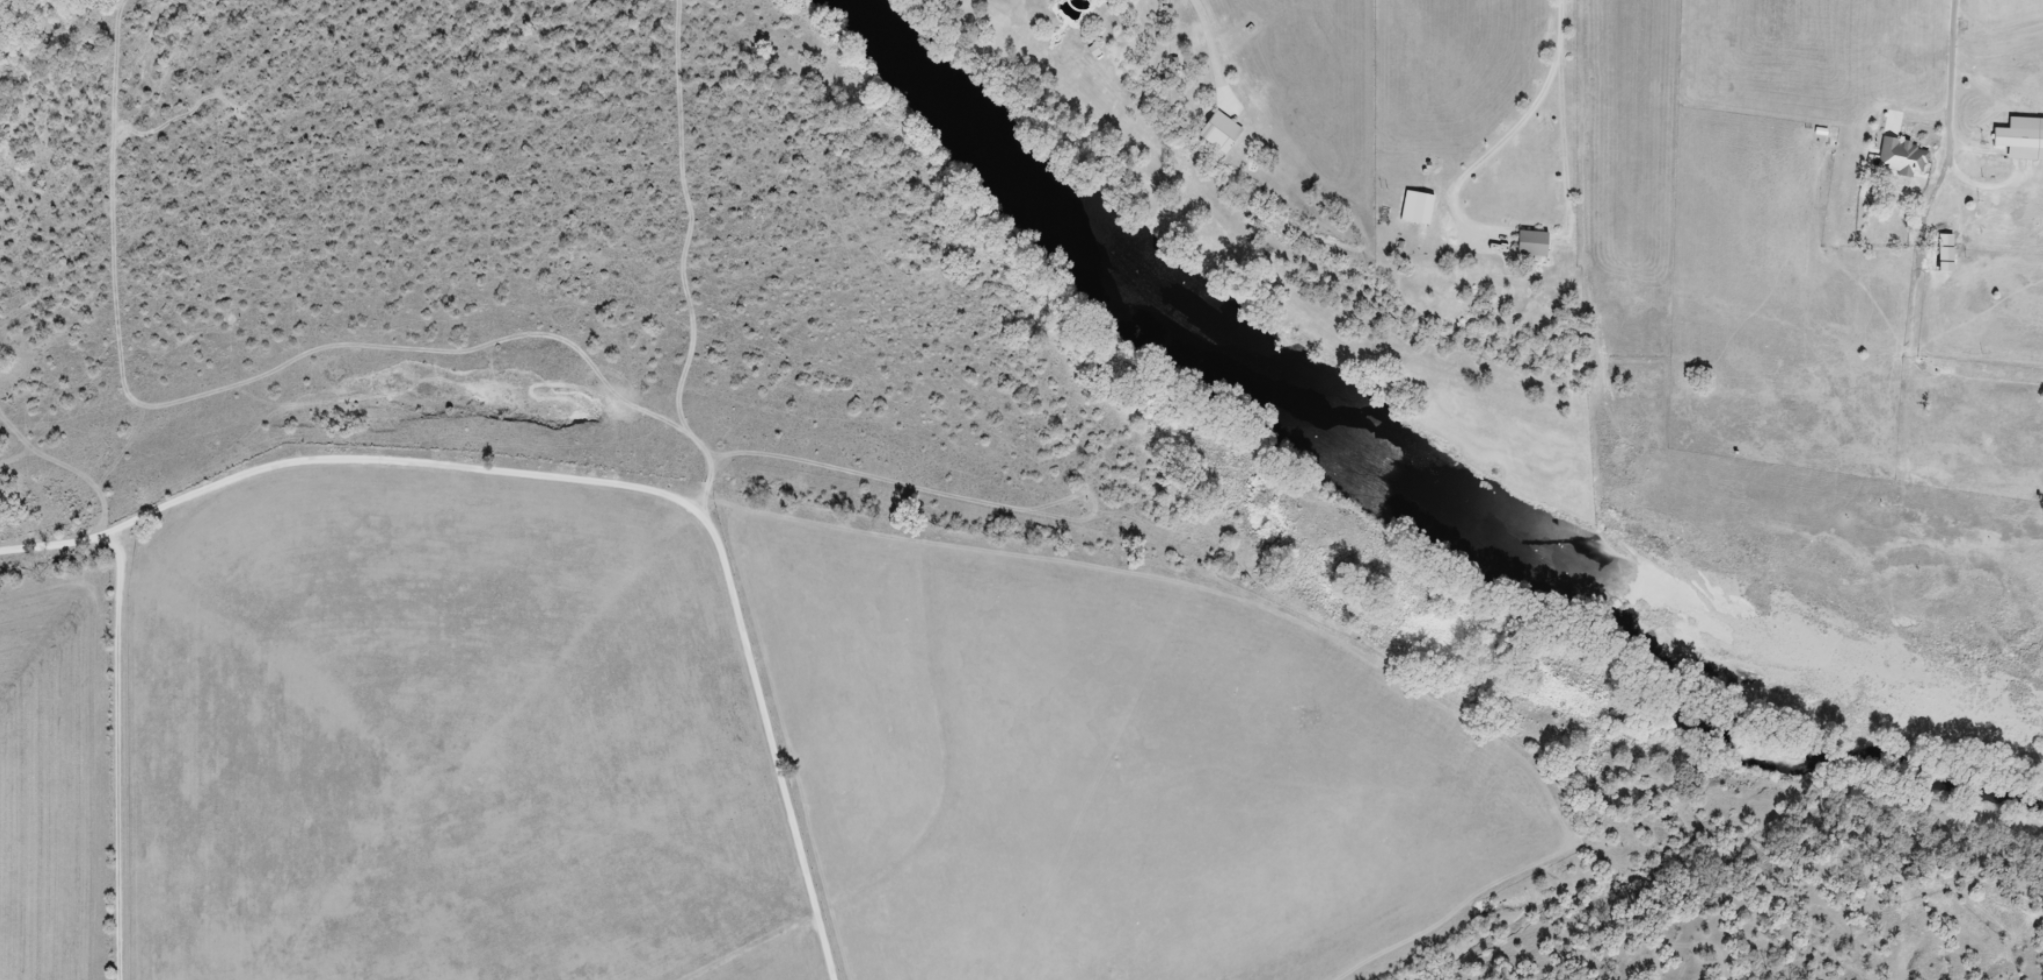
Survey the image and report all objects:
river: (2, 1)
road: (1949, 128)
building: (1223, 131)
building: (1999, 161)
building: (1535, 243)
building: (1946, 252)
building: (1945, 289)
river: (1389, 439)
road: (588, 480)

